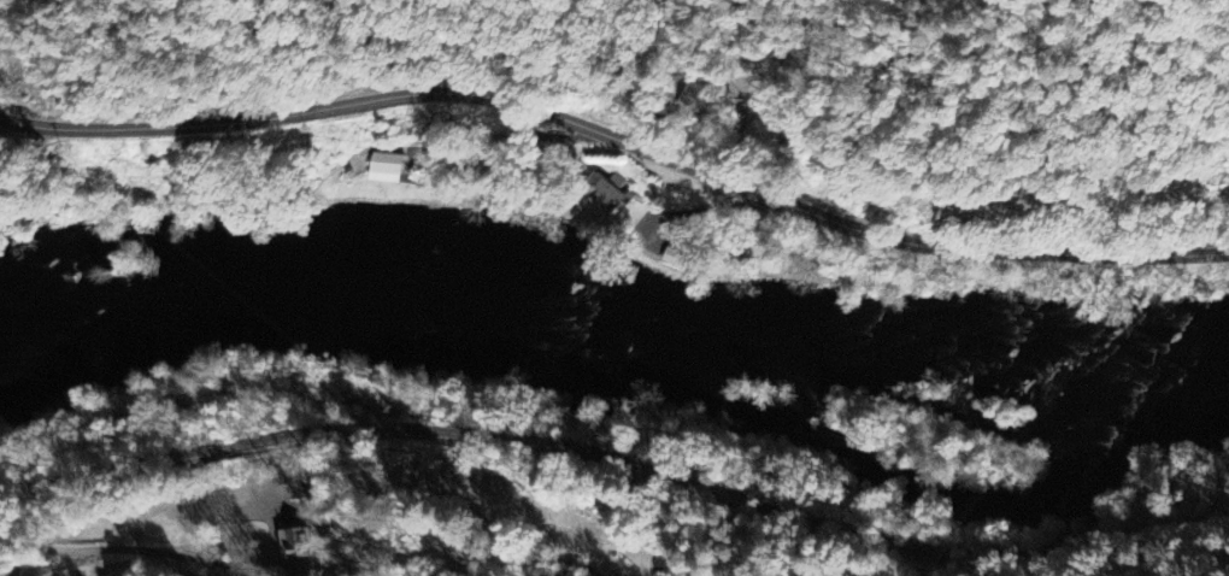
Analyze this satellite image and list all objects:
power tower: (11, 83)
building: (759, 137)
road: (618, 139)
building: (384, 170)
building: (606, 200)
building: (672, 258)
river: (330, 287)
river: (940, 353)
railway: (617, 464)
building: (293, 545)
road: (134, 549)

